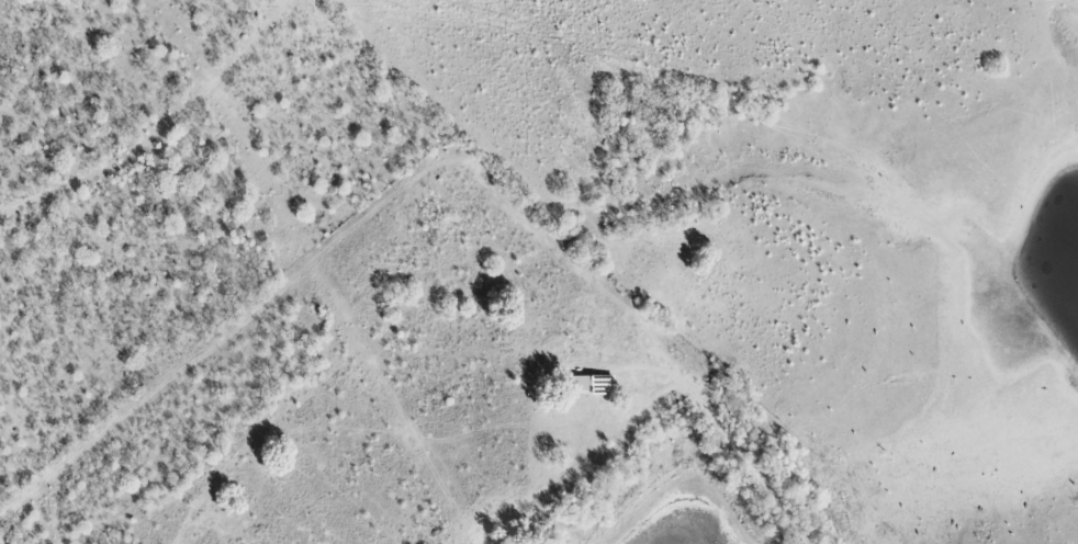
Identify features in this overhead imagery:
building: (593, 384)
road: (725, 423)

